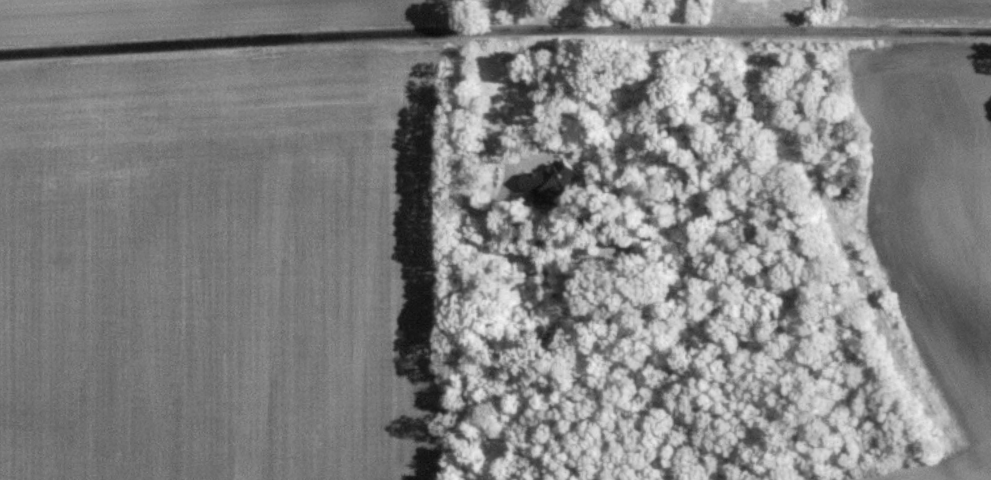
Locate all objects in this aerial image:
road: (495, 29)
road: (478, 240)

